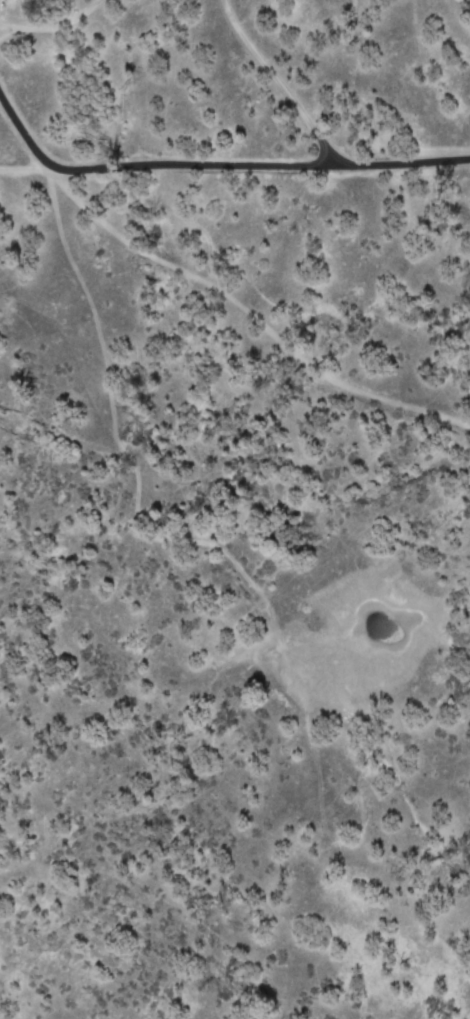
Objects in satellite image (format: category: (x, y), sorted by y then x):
road: (52, 24)
road: (7, 31)
road: (278, 80)
road: (215, 165)

